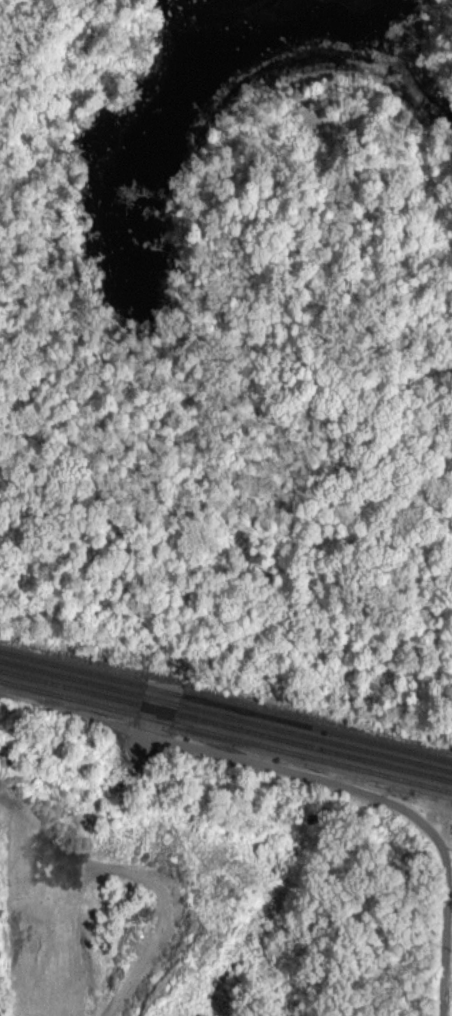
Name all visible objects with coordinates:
railway: (226, 705)
railway: (225, 716)
railway: (225, 727)
railway: (225, 737)

